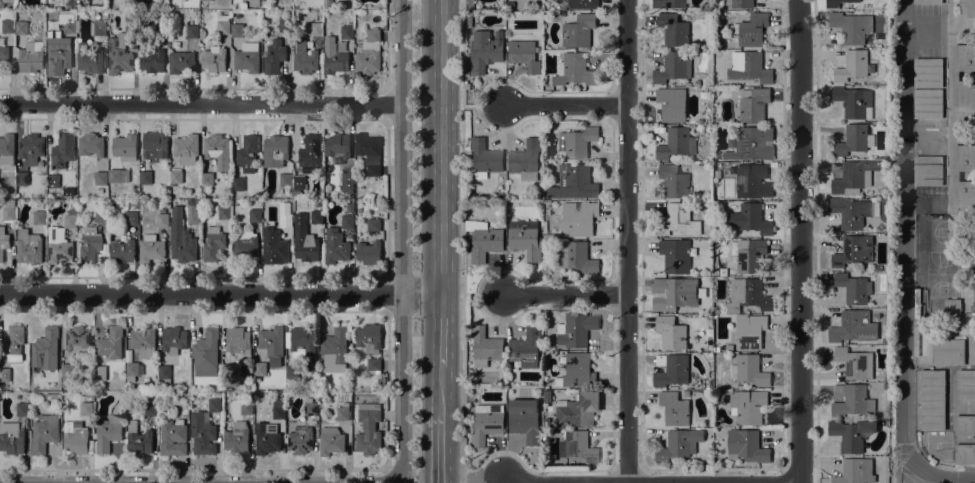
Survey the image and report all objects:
building: (204, 0)
building: (928, 1)
building: (8, 3)
building: (253, 3)
building: (742, 3)
building: (838, 3)
building: (264, 4)
building: (469, 4)
building: (583, 4)
building: (668, 4)
building: (244, 5)
building: (970, 8)
building: (130, 16)
building: (104, 18)
building: (223, 24)
building: (285, 25)
building: (8, 26)
building: (69, 26)
building: (851, 26)
building: (237, 27)
building: (20, 28)
building: (100, 28)
building: (162, 28)
building: (130, 29)
building: (316, 29)
building: (674, 30)
building: (751, 30)
building: (192, 31)
building: (347, 32)
building: (579, 32)
road: (386, 45)
building: (715, 46)
building: (485, 50)
building: (3, 53)
building: (369, 54)
building: (524, 55)
building: (119, 56)
building: (31, 57)
building: (58, 57)
building: (248, 57)
building: (274, 57)
building: (304, 58)
building: (964, 58)
building: (89, 59)
building: (213, 59)
building: (335, 59)
building: (152, 61)
building: (181, 62)
building: (852, 66)
building: (673, 67)
building: (749, 67)
building: (575, 70)
building: (927, 73)
building: (956, 76)
road: (962, 76)
road: (949, 86)
building: (964, 94)
building: (853, 101)
road: (201, 102)
road: (386, 103)
building: (672, 104)
building: (753, 104)
building: (928, 104)
road: (482, 105)
road: (564, 105)
building: (852, 140)
building: (577, 142)
building: (676, 143)
building: (751, 144)
building: (91, 145)
building: (338, 145)
building: (124, 146)
building: (155, 146)
road: (441, 147)
building: (31, 148)
building: (6, 149)
building: (186, 149)
building: (63, 150)
building: (218, 150)
building: (275, 151)
building: (248, 153)
building: (369, 153)
building: (311, 154)
building: (964, 158)
building: (485, 159)
building: (526, 159)
building: (42, 166)
building: (717, 167)
building: (928, 171)
building: (118, 176)
building: (176, 176)
building: (854, 176)
building: (956, 176)
building: (145, 177)
building: (101, 178)
building: (22, 179)
building: (207, 179)
building: (285, 180)
building: (347, 181)
building: (674, 181)
building: (752, 181)
building: (53, 182)
building: (574, 182)
building: (299, 183)
building: (238, 184)
building: (280, 191)
building: (174, 193)
building: (295, 194)
building: (964, 194)
road: (386, 197)
road: (949, 198)
building: (133, 202)
building: (8, 210)
building: (192, 212)
building: (224, 212)
building: (101, 213)
building: (850, 213)
building: (255, 215)
building: (39, 217)
building: (316, 217)
building: (131, 218)
building: (162, 218)
building: (578, 218)
building: (751, 218)
building: (286, 220)
building: (70, 221)
building: (348, 221)
building: (678, 221)
building: (373, 225)
building: (181, 238)
road: (402, 239)
building: (526, 239)
building: (305, 240)
building: (483, 240)
road: (463, 241)
road: (627, 241)
road: (800, 241)
building: (3, 242)
building: (213, 244)
building: (90, 245)
building: (58, 246)
building: (245, 246)
building: (273, 246)
building: (335, 246)
building: (28, 247)
building: (151, 248)
building: (853, 250)
building: (122, 251)
building: (368, 252)
building: (675, 255)
building: (750, 255)
building: (576, 258)
road: (904, 266)
building: (853, 288)
road: (387, 292)
road: (482, 293)
road: (564, 293)
building: (673, 293)
road: (220, 294)
building: (748, 295)
building: (952, 309)
building: (717, 310)
building: (853, 327)
building: (575, 330)
road: (441, 331)
building: (750, 331)
building: (671, 333)
building: (369, 338)
building: (173, 340)
building: (78, 341)
building: (143, 342)
building: (238, 342)
building: (110, 343)
building: (14, 344)
building: (272, 344)
building: (304, 345)
building: (45, 346)
building: (485, 347)
building: (525, 348)
building: (335, 349)
building: (716, 349)
building: (948, 351)
building: (205, 353)
building: (854, 363)
building: (373, 364)
building: (259, 369)
building: (671, 370)
building: (749, 370)
building: (133, 371)
building: (576, 371)
building: (227, 372)
building: (292, 372)
building: (100, 373)
building: (5, 374)
building: (164, 374)
building: (68, 375)
building: (257, 379)
building: (965, 384)
road: (441, 390)
building: (89, 394)
building: (181, 395)
building: (51, 396)
building: (547, 396)
building: (932, 399)
building: (851, 400)
building: (214, 402)
building: (747, 406)
building: (310, 407)
building: (150, 408)
building: (247, 408)
building: (674, 408)
building: (22, 409)
building: (86, 409)
building: (578, 409)
building: (279, 412)
building: (343, 412)
building: (524, 420)
building: (547, 422)
building: (485, 424)
building: (964, 424)
building: (368, 429)
building: (44, 432)
building: (108, 432)
building: (202, 433)
building: (852, 434)
building: (11, 438)
building: (173, 438)
building: (237, 438)
building: (77, 439)
building: (138, 439)
building: (266, 439)
building: (300, 439)
building: (331, 441)
building: (679, 444)
building: (578, 446)
building: (746, 446)
road: (440, 448)
building: (964, 453)
road: (531, 467)
road: (801, 467)
road: (713, 468)
road: (275, 469)
road: (627, 470)
building: (855, 472)
road: (907, 474)
road: (817, 475)
road: (395, 476)
road: (917, 477)
road: (393, 480)
road: (498, 480)
road: (540, 482)

